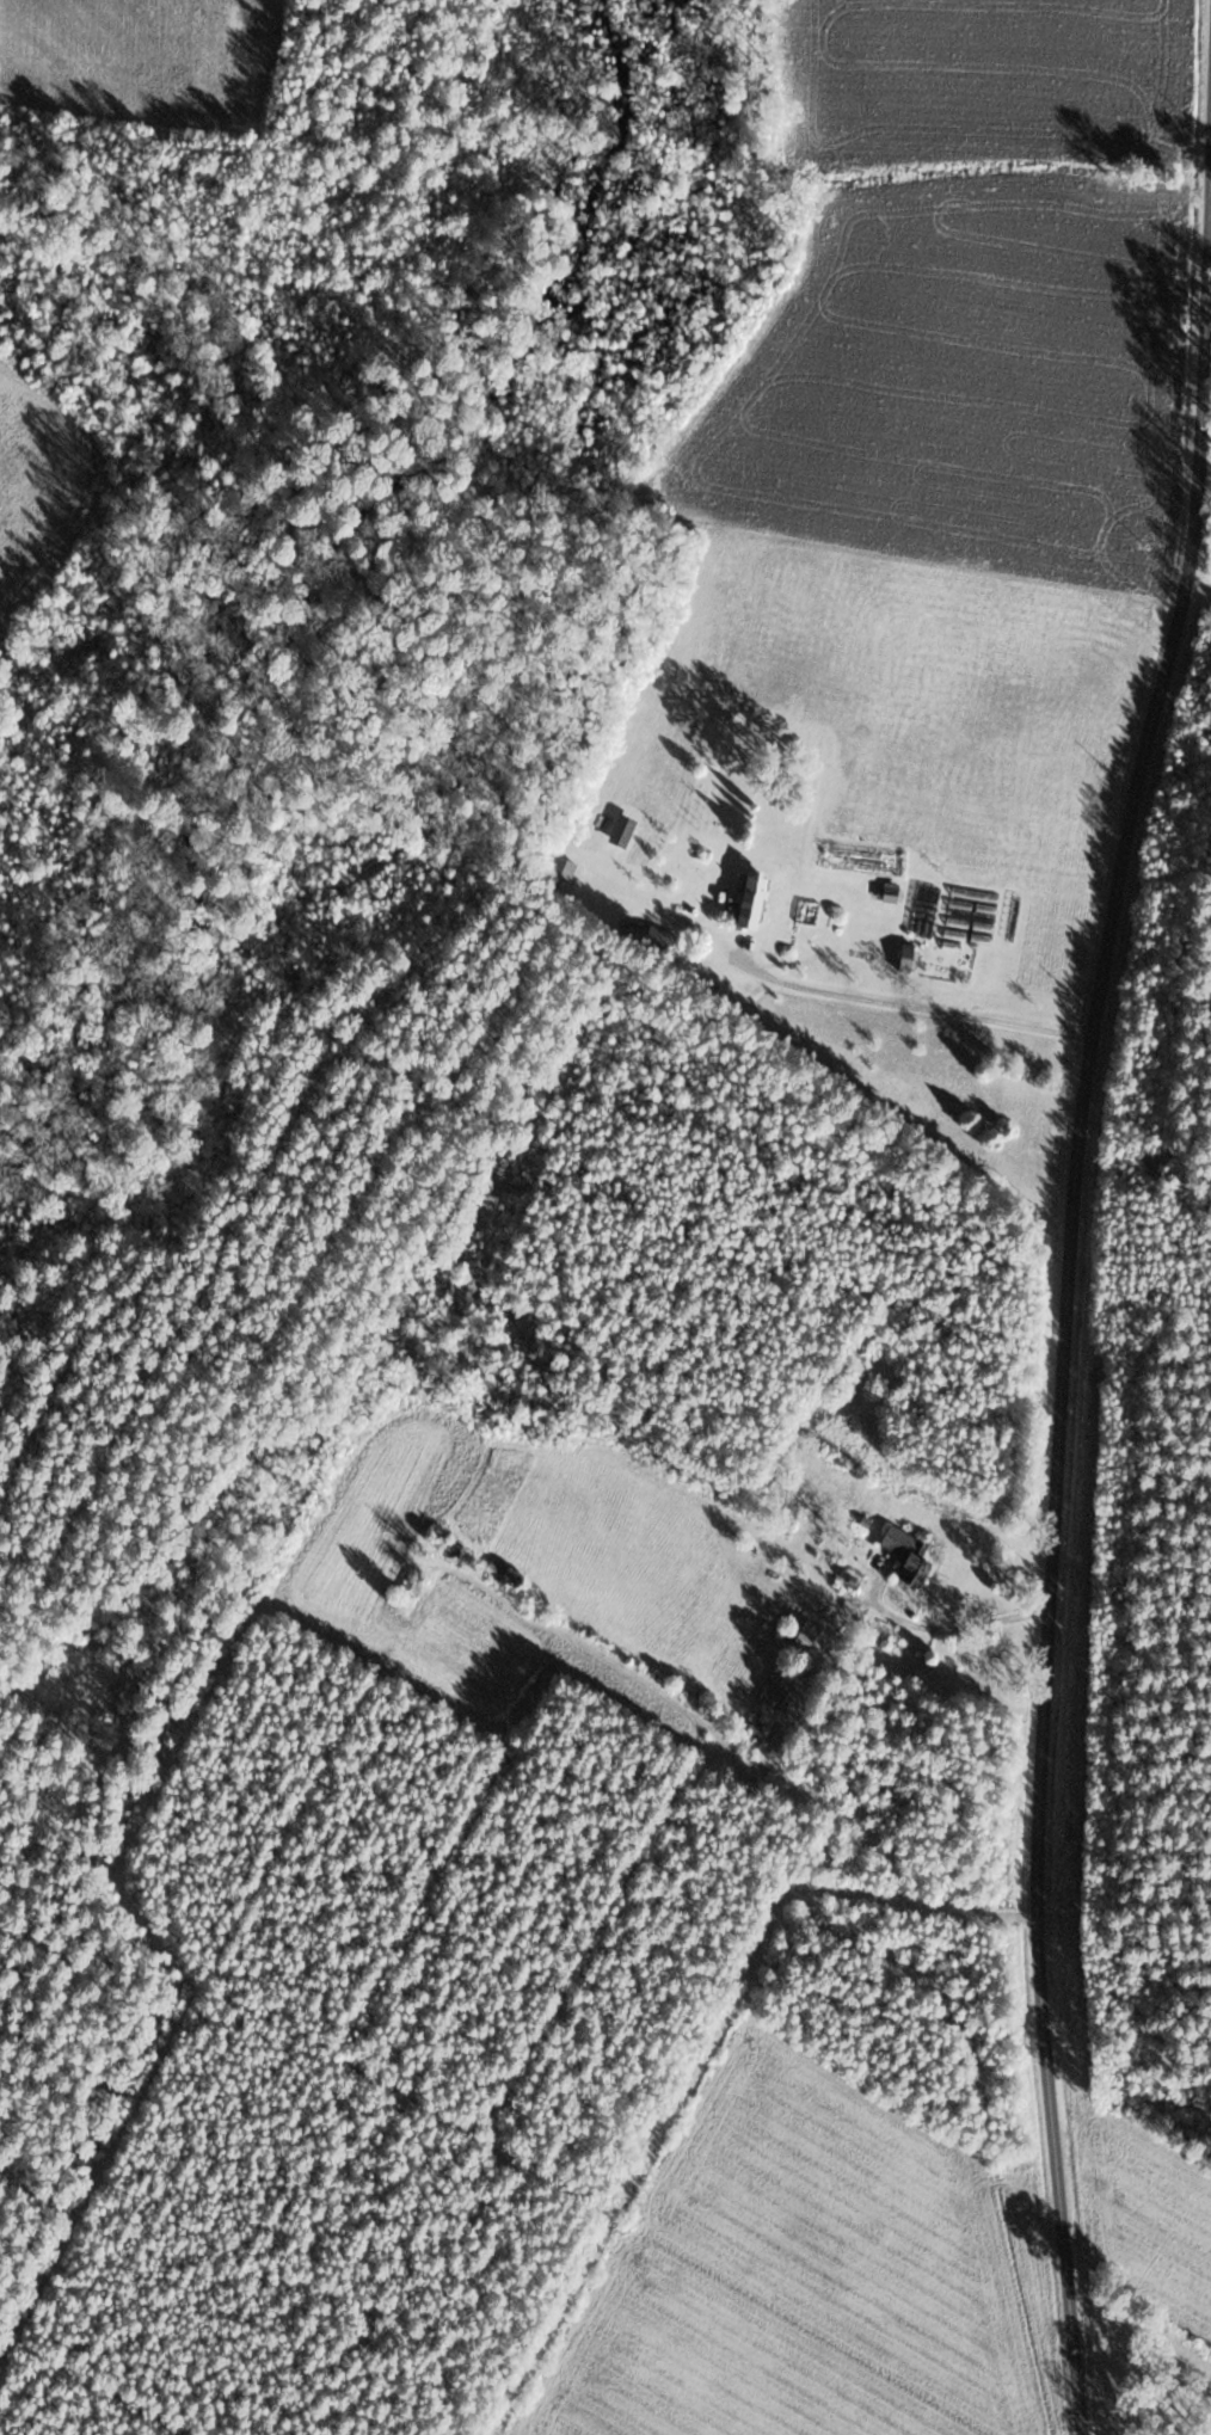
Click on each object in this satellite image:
building: (1152, 133)
building: (1086, 191)
building: (891, 896)
building: (751, 900)
building: (909, 957)
road: (909, 1004)
road: (1066, 1306)
building: (909, 1554)
building: (504, 1573)
building: (412, 1587)
road: (954, 1628)
building: (804, 1634)
building: (777, 1689)

